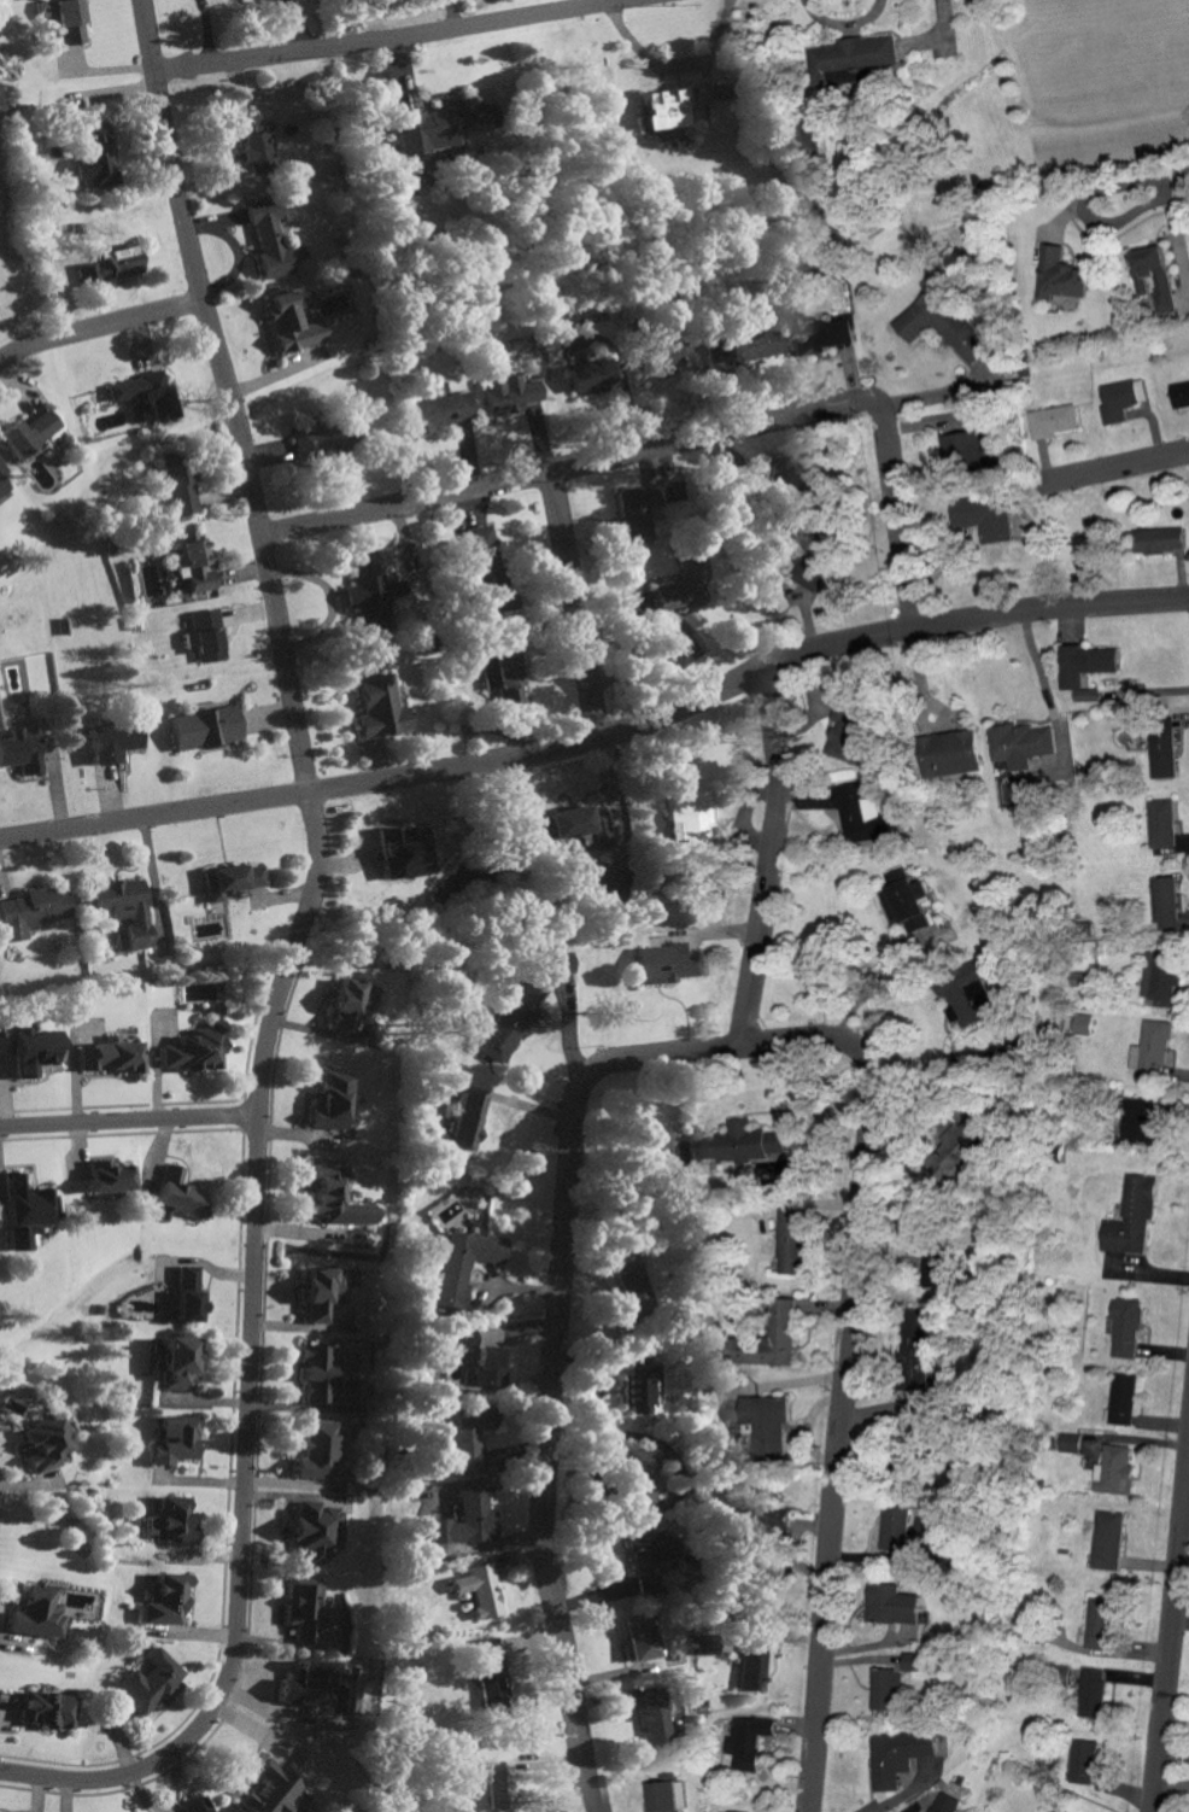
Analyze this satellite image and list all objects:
road: (657, 0)
road: (446, 17)
building: (68, 18)
road: (207, 33)
road: (410, 39)
building: (856, 55)
road: (675, 69)
building: (667, 107)
building: (439, 124)
building: (254, 144)
building: (98, 154)
road: (1179, 185)
road: (1091, 218)
building: (273, 240)
building: (90, 268)
building: (1158, 276)
building: (1061, 277)
road: (94, 323)
building: (293, 325)
building: (942, 325)
building: (819, 335)
building: (743, 349)
building: (660, 357)
building: (587, 370)
building: (510, 392)
building: (146, 393)
building: (1182, 394)
building: (1123, 398)
building: (440, 411)
building: (1052, 421)
building: (29, 433)
building: (327, 439)
road: (674, 445)
building: (966, 446)
road: (1115, 472)
building: (789, 480)
building: (4, 481)
building: (180, 481)
building: (640, 510)
building: (986, 516)
building: (1159, 540)
building: (814, 556)
building: (195, 562)
building: (487, 571)
building: (684, 589)
building: (367, 592)
road: (573, 607)
building: (205, 636)
building: (681, 645)
building: (1086, 668)
building: (508, 673)
building: (708, 695)
building: (381, 708)
building: (205, 729)
building: (853, 732)
road: (601, 738)
building: (115, 742)
building: (1025, 744)
building: (22, 752)
building: (953, 754)
building: (1166, 755)
building: (862, 812)
building: (691, 820)
building: (1166, 823)
building: (576, 825)
building: (405, 853)
road: (766, 865)
building: (230, 882)
building: (610, 885)
building: (907, 900)
building: (1170, 900)
building: (124, 908)
building: (33, 912)
building: (558, 963)
building: (668, 964)
road: (287, 966)
building: (1164, 975)
road: (862, 989)
building: (351, 1001)
building: (974, 1004)
building: (515, 1018)
building: (1086, 1024)
building: (36, 1048)
building: (1154, 1051)
building: (112, 1053)
road: (730, 1054)
building: (335, 1099)
building: (462, 1120)
building: (1141, 1120)
road: (128, 1124)
building: (976, 1132)
building: (746, 1142)
building: (109, 1175)
building: (182, 1192)
building: (339, 1197)
building: (24, 1208)
building: (1132, 1215)
building: (795, 1240)
building: (932, 1253)
building: (464, 1263)
building: (631, 1284)
building: (327, 1290)
building: (188, 1292)
building: (1127, 1326)
building: (774, 1337)
building: (920, 1344)
building: (177, 1362)
building: (488, 1363)
building: (318, 1370)
building: (638, 1386)
building: (1125, 1397)
building: (771, 1422)
building: (469, 1434)
building: (176, 1438)
building: (1070, 1440)
building: (46, 1442)
building: (1088, 1445)
building: (317, 1449)
building: (1115, 1469)
building: (638, 1480)
building: (170, 1519)
building: (467, 1520)
building: (912, 1525)
building: (773, 1528)
building: (318, 1530)
building: (1108, 1539)
building: (648, 1557)
building: (480, 1589)
building: (165, 1598)
building: (896, 1603)
building: (37, 1612)
building: (314, 1612)
building: (1100, 1623)
building: (639, 1636)
road: (1172, 1647)
building: (915, 1660)
building: (754, 1665)
building: (494, 1666)
building: (151, 1682)
building: (309, 1683)
building: (888, 1688)
building: (1095, 1691)
building: (47, 1708)
building: (657, 1713)
building: (749, 1741)
building: (898, 1755)
building: (1085, 1761)
building: (504, 1783)
building: (270, 1789)
building: (661, 1796)
building: (947, 1802)
building: (198, 1805)
building: (726, 1811)

